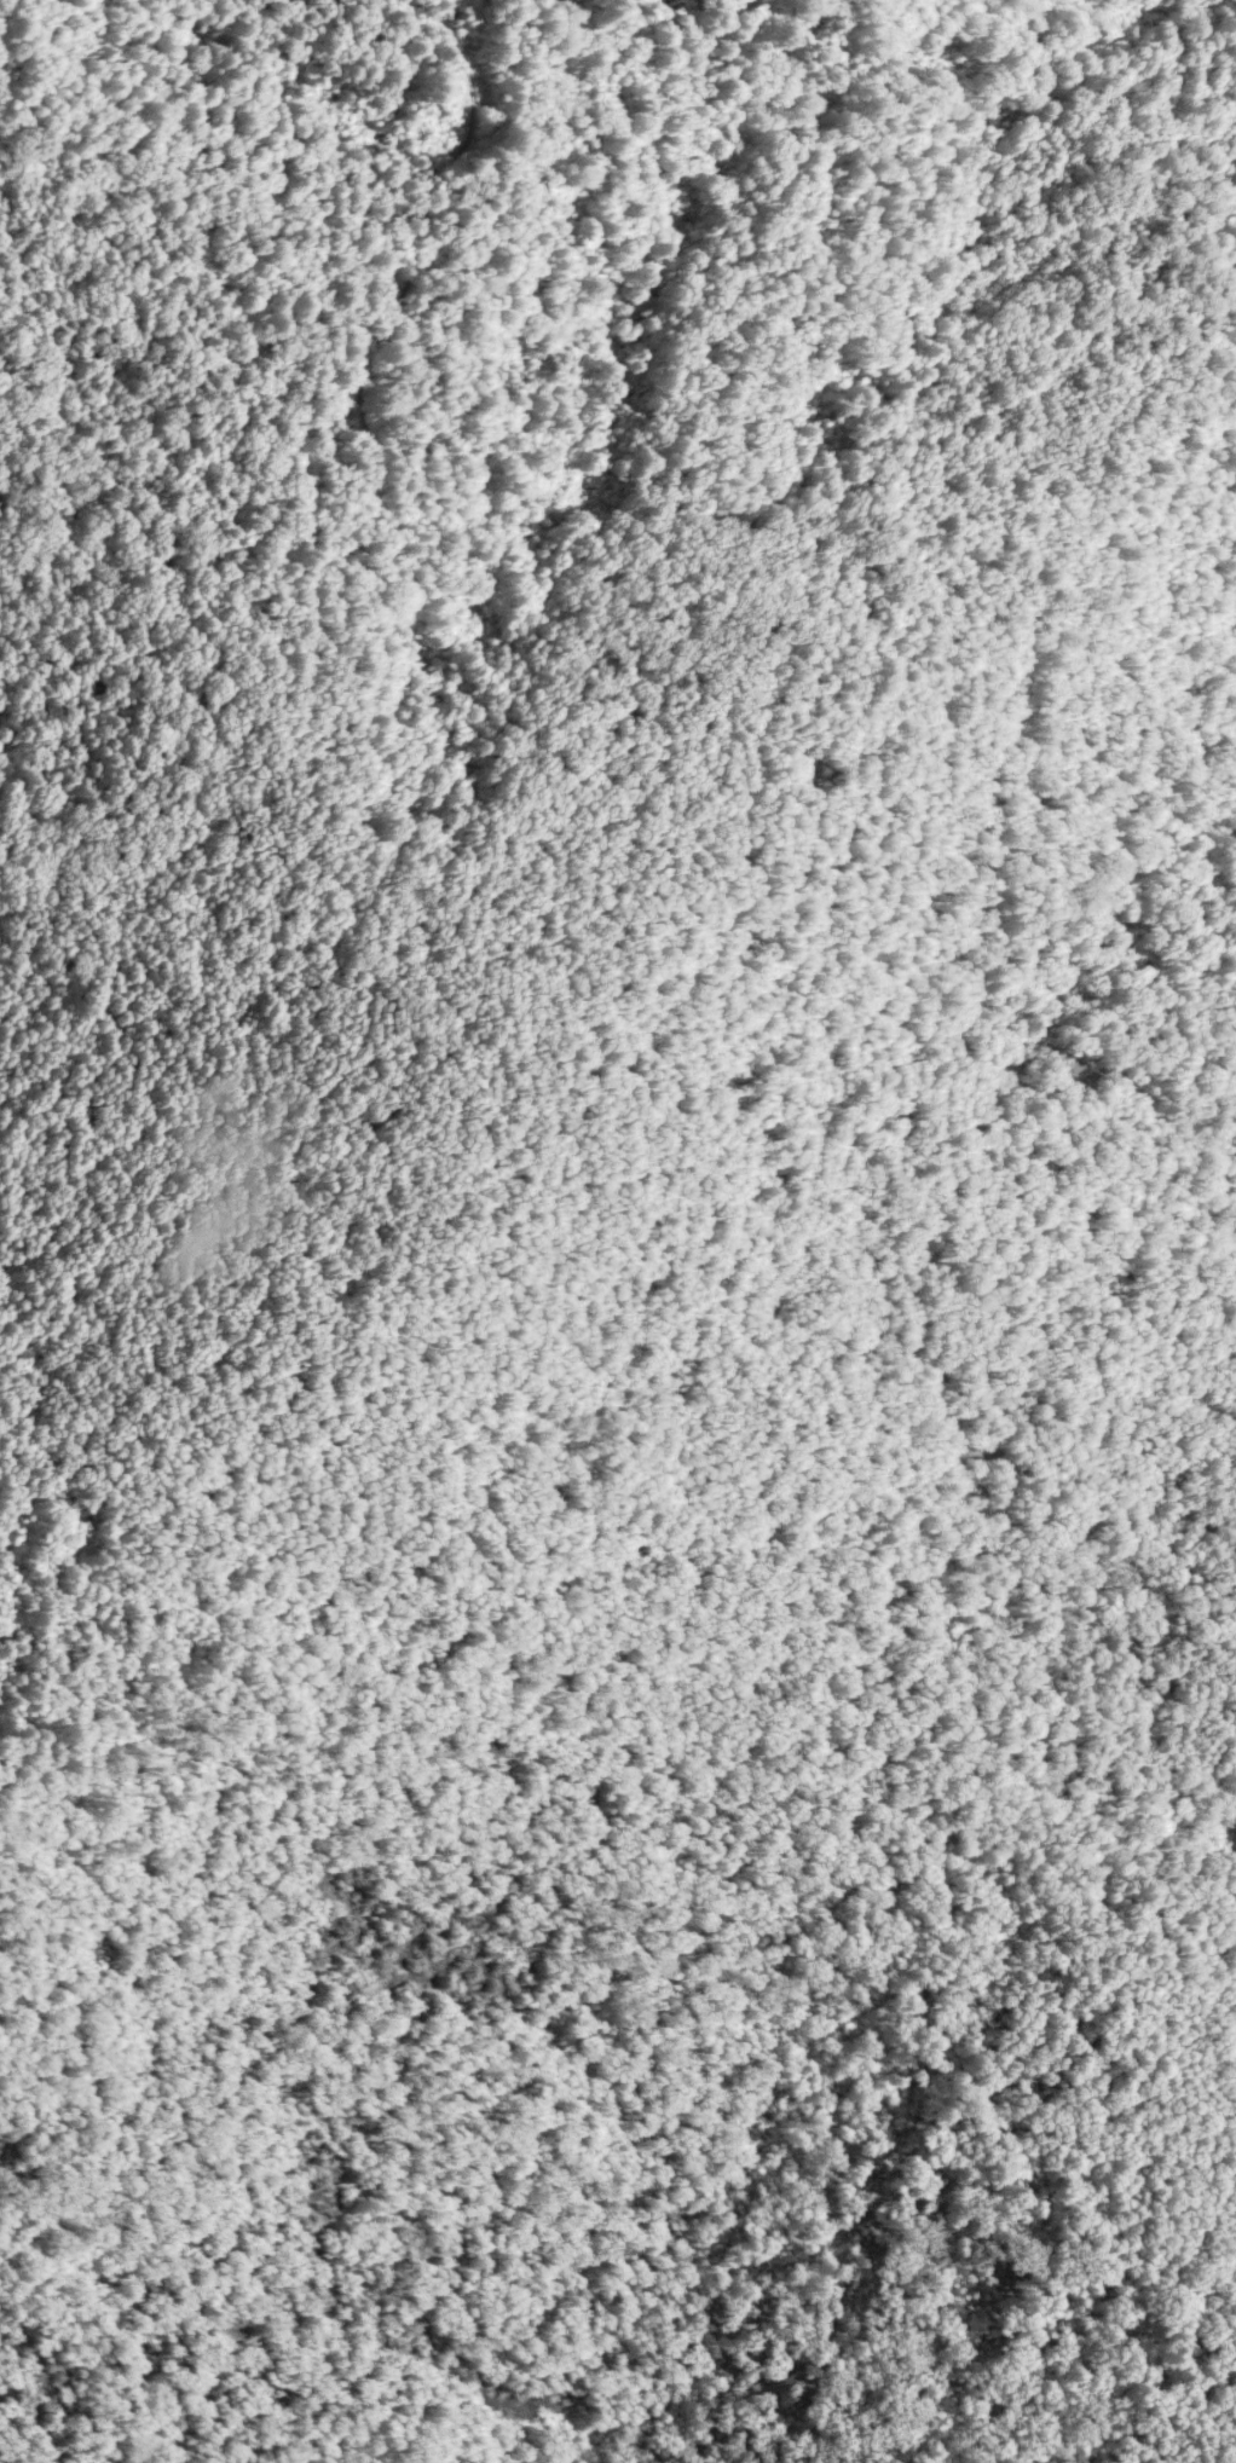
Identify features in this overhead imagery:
road: (404, 56)

